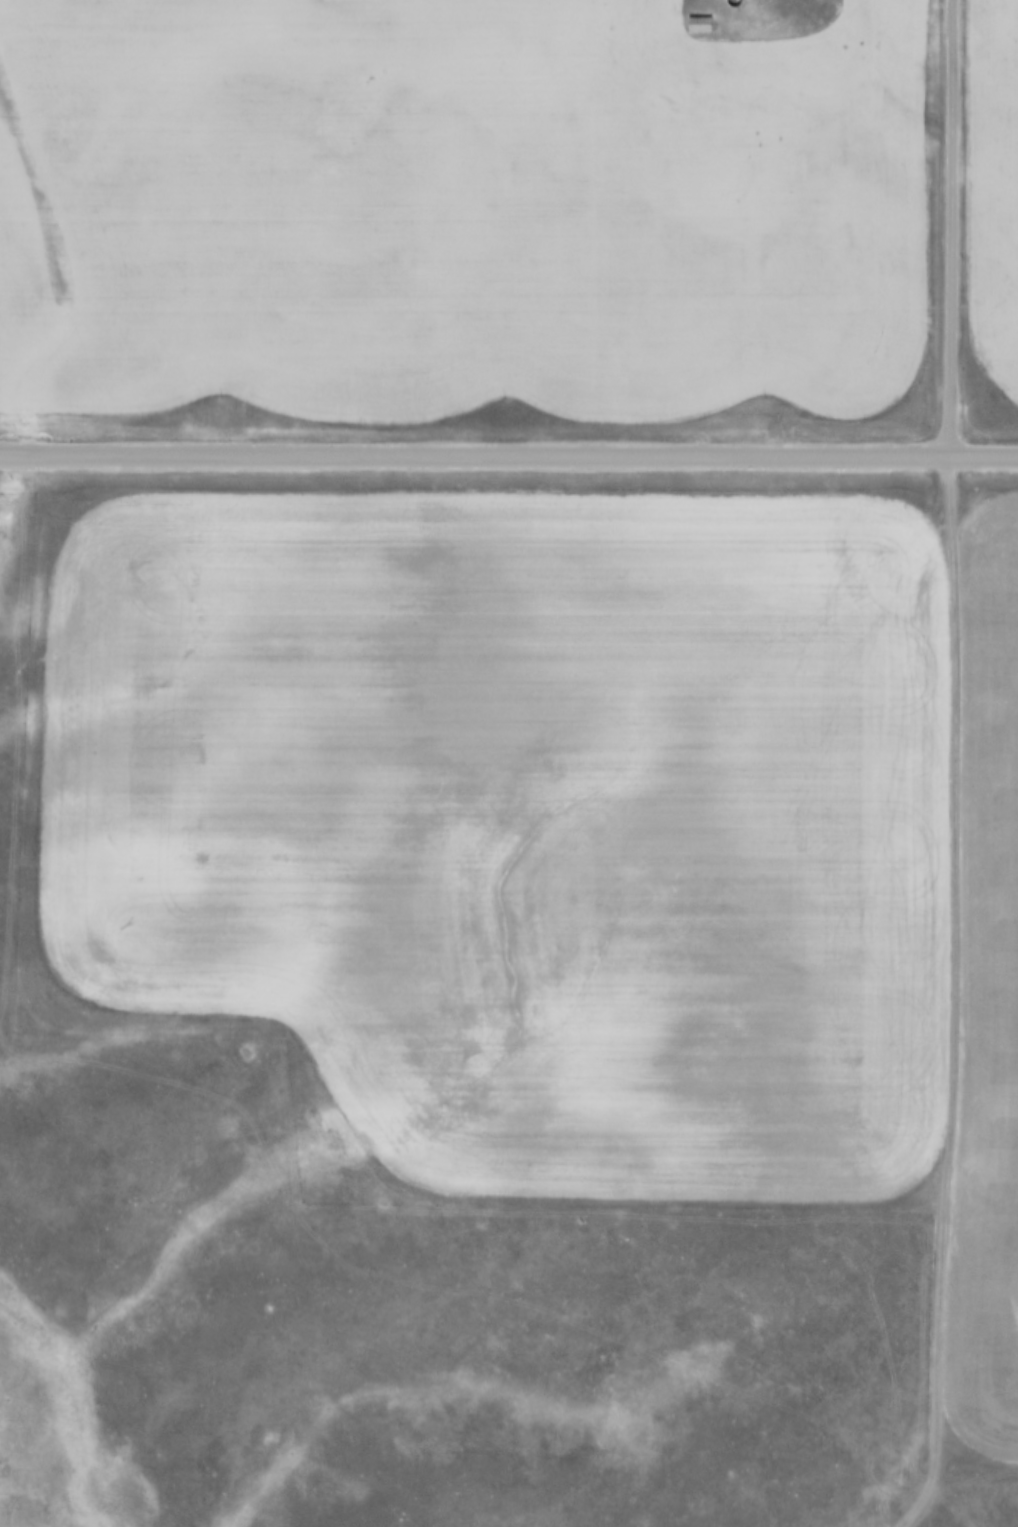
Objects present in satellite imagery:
building: (700, 23)
road: (947, 231)
road: (508, 461)
road: (958, 1007)

